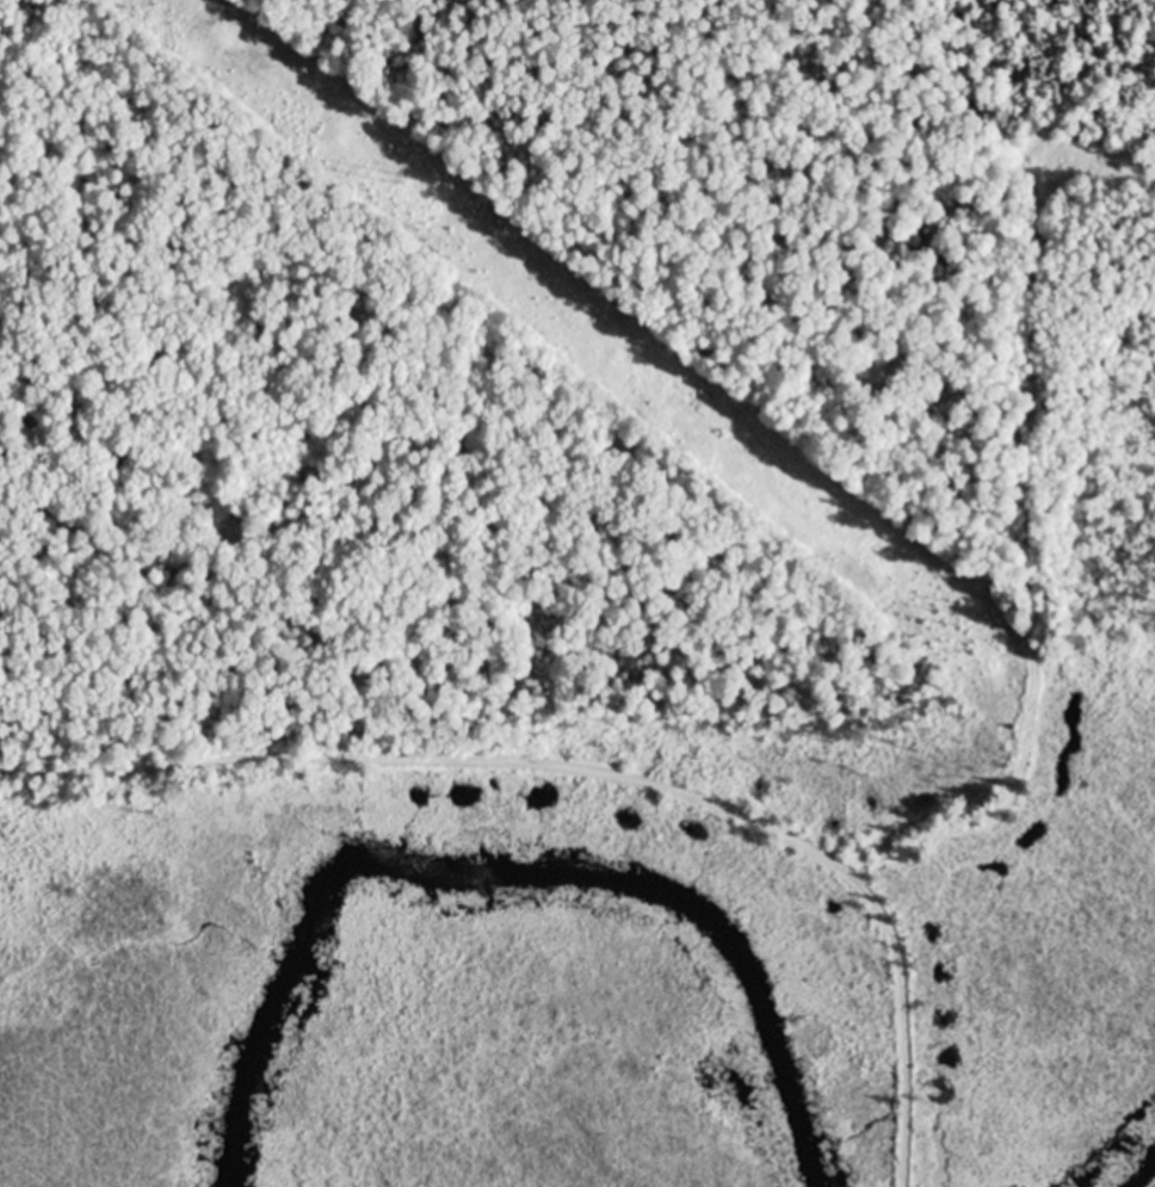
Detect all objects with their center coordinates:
power tower: (415, 184)
power tower: (953, 616)
road: (599, 774)

